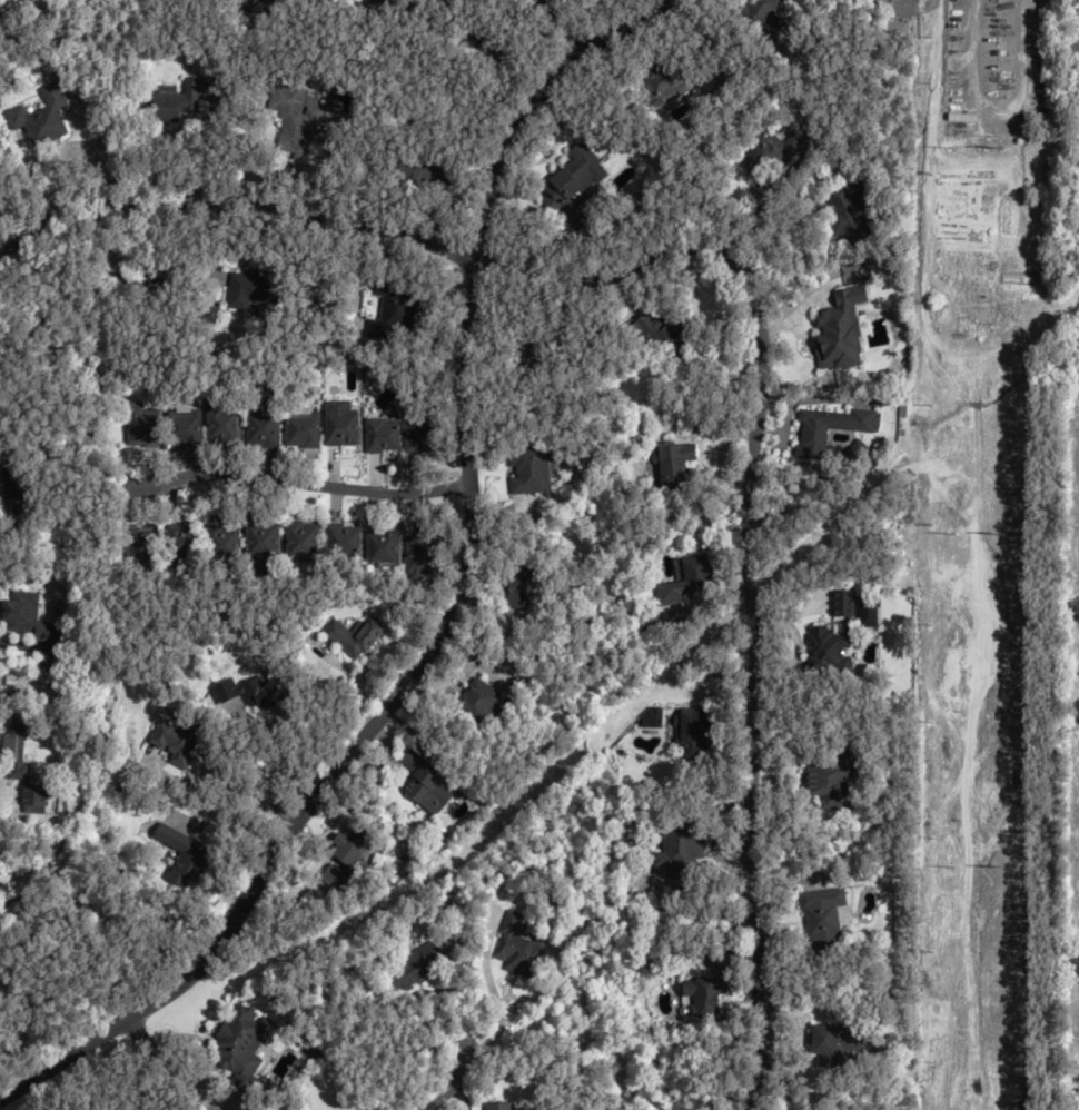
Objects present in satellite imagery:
building: (376, 4)
building: (756, 16)
road: (557, 24)
building: (491, 47)
building: (705, 75)
building: (663, 82)
building: (176, 100)
building: (40, 117)
building: (296, 119)
building: (1040, 120)
road: (98, 133)
power tower: (996, 147)
building: (774, 152)
building: (423, 168)
building: (572, 189)
road: (231, 198)
building: (850, 212)
building: (143, 278)
building: (248, 289)
building: (389, 310)
building: (664, 333)
building: (340, 424)
building: (141, 425)
building: (222, 425)
building: (186, 426)
building: (263, 428)
building: (831, 429)
building: (301, 430)
building: (420, 433)
building: (382, 435)
building: (677, 466)
building: (529, 468)
building: (11, 484)
road: (300, 484)
power tower: (997, 534)
building: (343, 539)
building: (263, 541)
building: (303, 542)
building: (142, 543)
building: (185, 543)
building: (224, 543)
building: (384, 548)
road: (745, 552)
building: (423, 554)
building: (687, 581)
building: (521, 586)
road: (453, 601)
building: (31, 618)
building: (356, 635)
building: (840, 637)
building: (250, 693)
building: (478, 704)
building: (695, 733)
building: (176, 740)
building: (13, 756)
building: (840, 779)
building: (426, 785)
building: (36, 799)
building: (0, 844)
building: (682, 853)
building: (181, 855)
building: (346, 856)
power tower: (998, 866)
building: (829, 916)
building: (514, 948)
building: (414, 967)
building: (710, 998)
building: (241, 1042)
building: (839, 1048)
road: (159, 1068)
road: (451, 1081)
building: (496, 1106)

